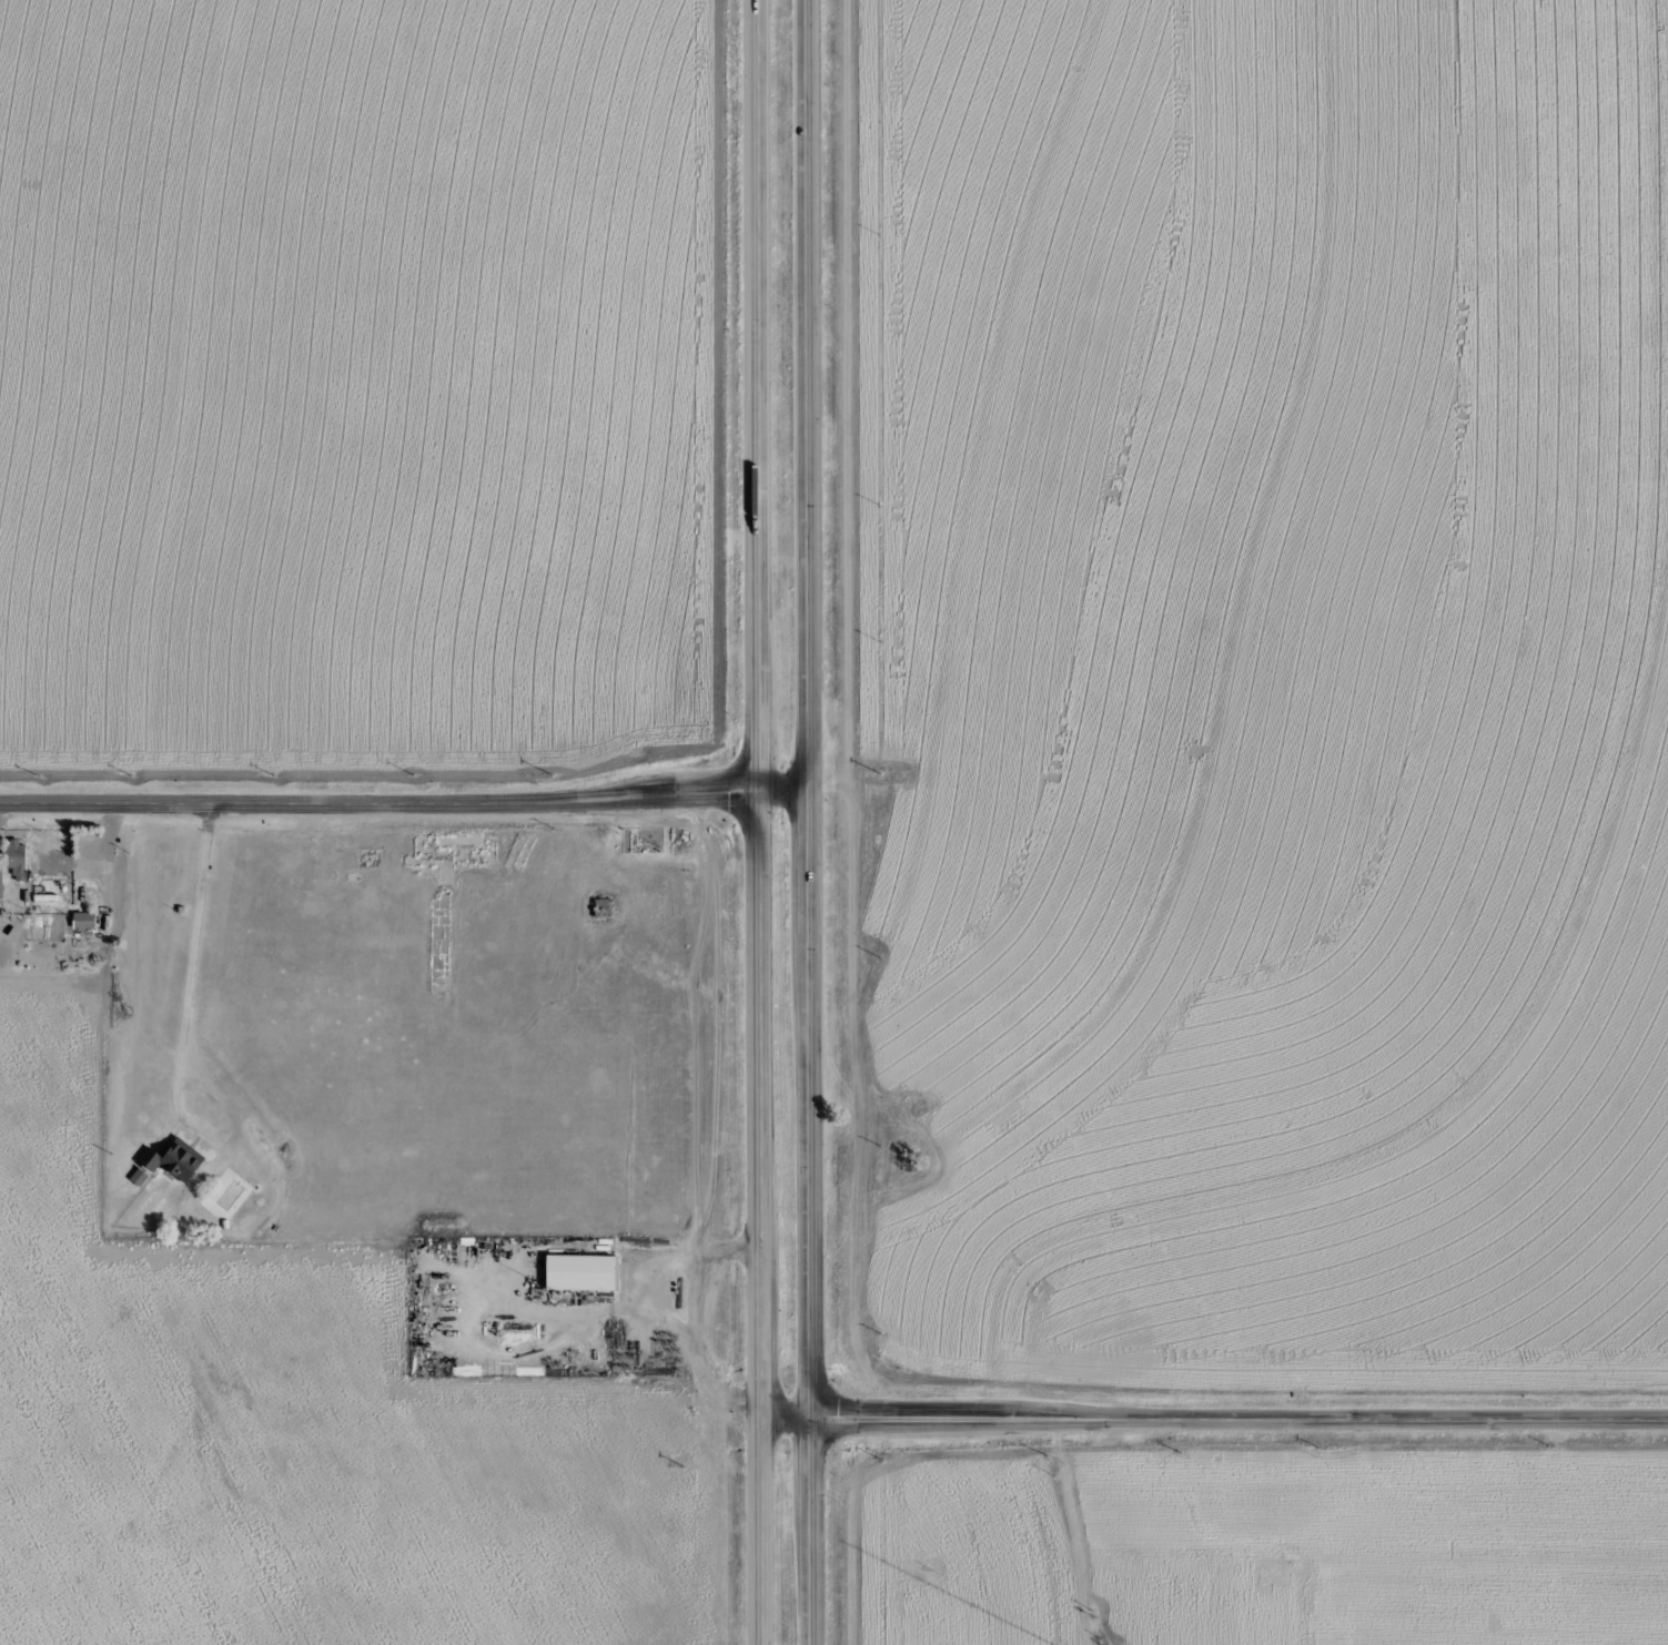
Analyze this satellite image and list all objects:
road: (813, 395)
road: (756, 396)
road: (785, 791)
road: (376, 792)
road: (193, 951)
road: (815, 1106)
road: (757, 1107)
building: (182, 1166)
building: (582, 1273)
road: (664, 1304)
road: (1214, 1421)
road: (761, 1534)
road: (812, 1534)

